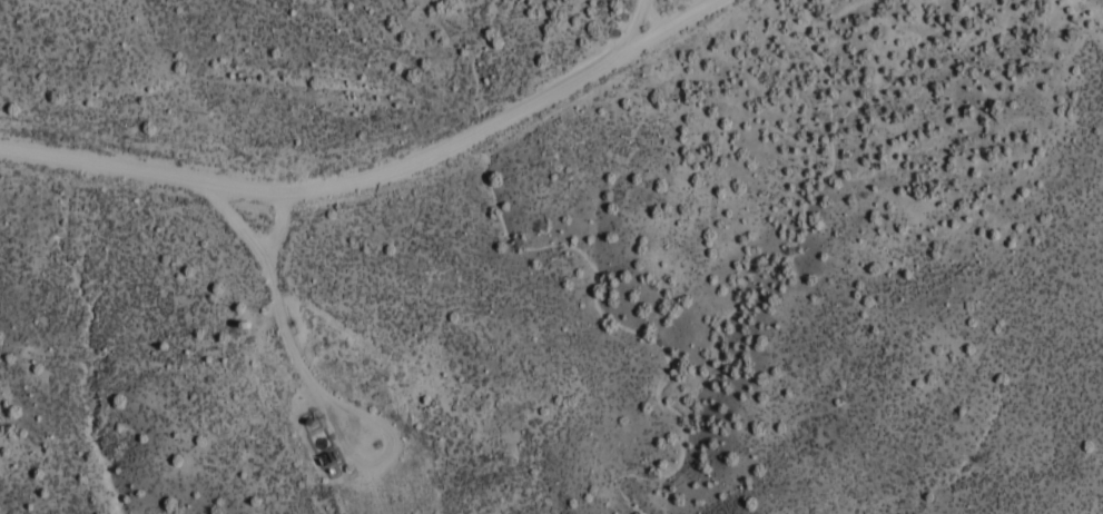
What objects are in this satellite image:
road: (639, 26)
road: (377, 172)

